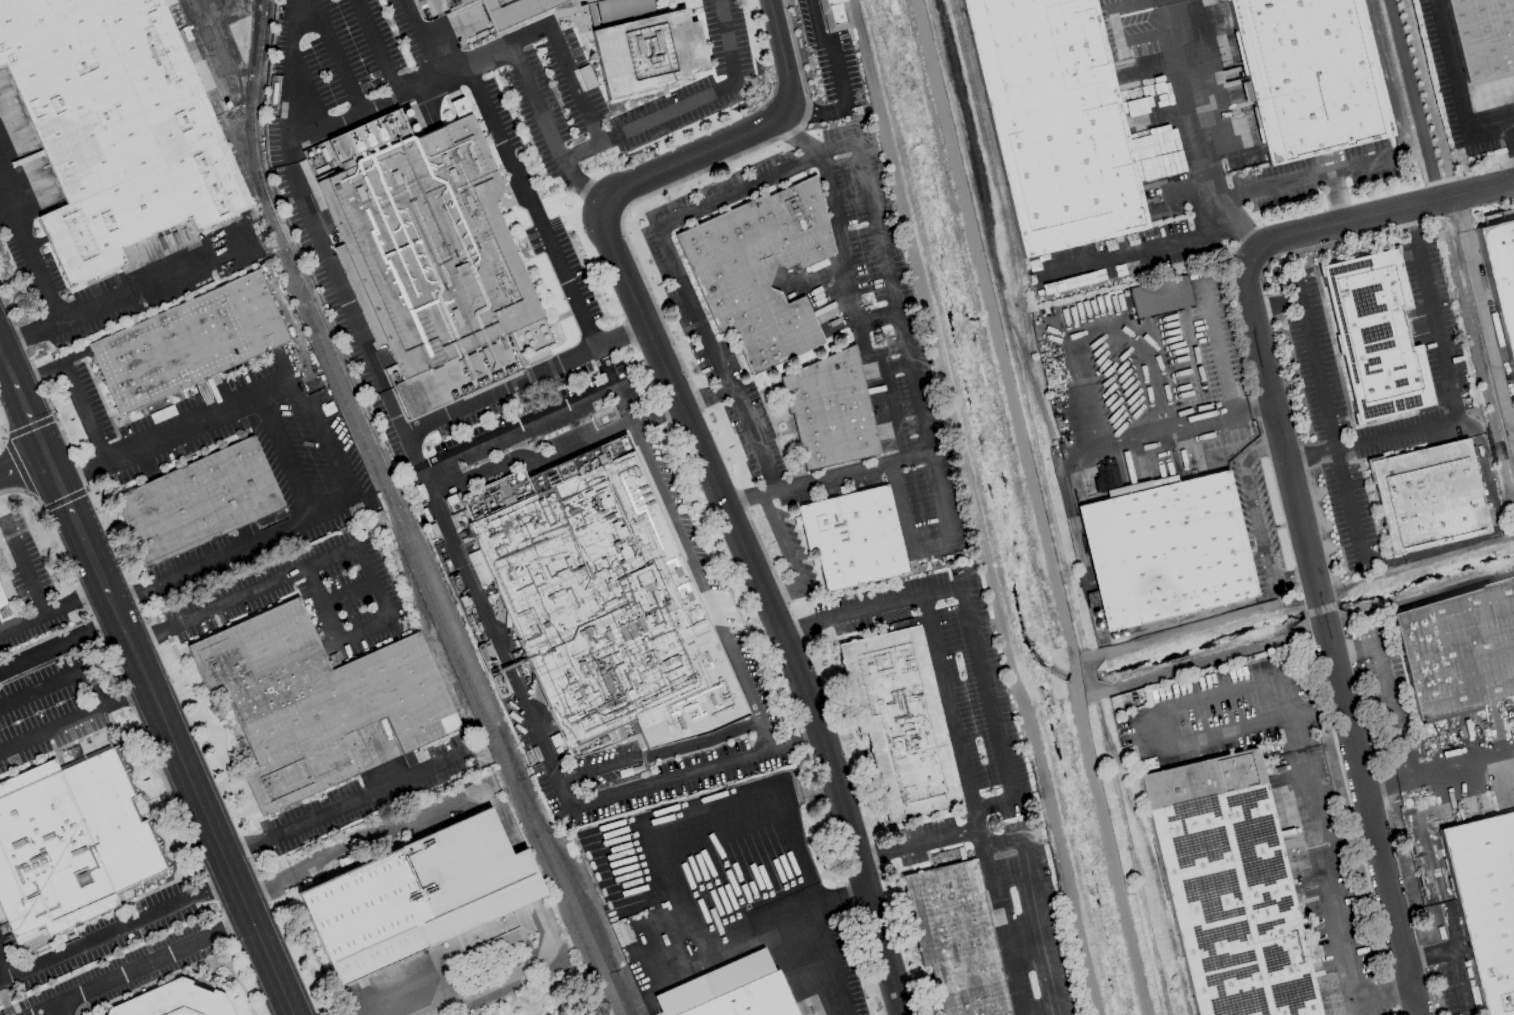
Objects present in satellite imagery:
building: (510, 12)
building: (834, 15)
building: (1482, 36)
road: (530, 37)
road: (728, 44)
road: (380, 48)
road: (834, 51)
building: (647, 55)
road: (335, 57)
road: (290, 71)
building: (1318, 78)
road: (577, 86)
road: (1457, 89)
road: (401, 97)
road: (1412, 99)
road: (535, 105)
road: (815, 112)
road: (1193, 113)
building: (1060, 125)
road: (647, 126)
building: (114, 131)
road: (800, 136)
railway: (971, 141)
road: (290, 154)
road: (1300, 178)
road: (755, 184)
road: (581, 188)
road: (1335, 197)
road: (5, 210)
road: (1379, 212)
railway: (1007, 220)
railway: (268, 229)
road: (1155, 249)
road: (28, 253)
building: (427, 253)
building: (759, 269)
road: (336, 277)
building: (1501, 278)
road: (137, 287)
road: (570, 289)
building: (1159, 296)
road: (892, 297)
road: (1274, 304)
road: (876, 317)
road: (856, 319)
railway: (1005, 324)
power tower: (875, 332)
road: (28, 334)
road: (621, 334)
building: (1375, 336)
building: (189, 342)
road: (713, 360)
road: (7, 366)
road: (1448, 372)
road: (73, 391)
road: (501, 391)
road: (705, 397)
building: (831, 408)
road: (29, 418)
road: (1328, 420)
railway: (1047, 423)
road: (517, 427)
road: (1372, 439)
road: (327, 444)
traffic signals: (44, 453)
road: (286, 456)
road: (705, 459)
road: (530, 461)
road: (21, 462)
road: (844, 474)
traffic signals: (58, 484)
building: (1427, 496)
road: (742, 499)
road: (940, 499)
building: (199, 501)
road: (1036, 505)
road: (973, 507)
road: (900, 508)
railway: (405, 516)
road: (1256, 519)
road: (75, 523)
building: (855, 538)
road: (780, 543)
road: (931, 548)
road: (1432, 551)
building: (1168, 553)
building: (4, 571)
road: (25, 572)
road: (378, 580)
road: (269, 584)
road: (347, 587)
road: (786, 597)
road: (476, 598)
building: (2, 600)
road: (889, 603)
road: (113, 605)
road: (322, 606)
building: (592, 607)
road: (52, 608)
road: (1194, 626)
road: (800, 627)
railway: (425, 630)
road: (366, 631)
railway: (445, 632)
road: (1328, 634)
road: (153, 637)
road: (59, 645)
road: (1354, 648)
building: (1458, 649)
road: (741, 674)
road: (1384, 674)
road: (62, 677)
railway: (1088, 678)
road: (987, 692)
railway: (1094, 697)
road: (126, 699)
building: (321, 702)
road: (1288, 716)
building: (904, 721)
road: (1275, 721)
road: (51, 730)
road: (797, 742)
road: (660, 755)
road: (1439, 772)
road: (671, 778)
railway: (518, 783)
road: (364, 795)
road: (768, 800)
road: (970, 805)
road: (992, 807)
road: (206, 816)
power tower: (989, 817)
road: (381, 829)
road: (1424, 835)
building: (73, 842)
road: (927, 843)
road: (1000, 844)
road: (250, 846)
railway: (514, 846)
road: (871, 857)
railway: (1151, 858)
railway: (1132, 861)
road: (1328, 876)
road: (268, 887)
building: (1228, 888)
road: (844, 897)
building: (424, 900)
building: (1485, 903)
road: (1041, 927)
road: (118, 934)
building: (959, 939)
road: (1024, 943)
road: (1428, 955)
road: (701, 957)
road: (832, 961)
road: (141, 966)
road: (4, 972)
road: (1458, 982)
road: (479, 990)
road: (1385, 995)
building: (729, 998)
building: (178, 1000)
road: (60, 1009)
building: (1097, 1009)
road: (1360, 1009)

